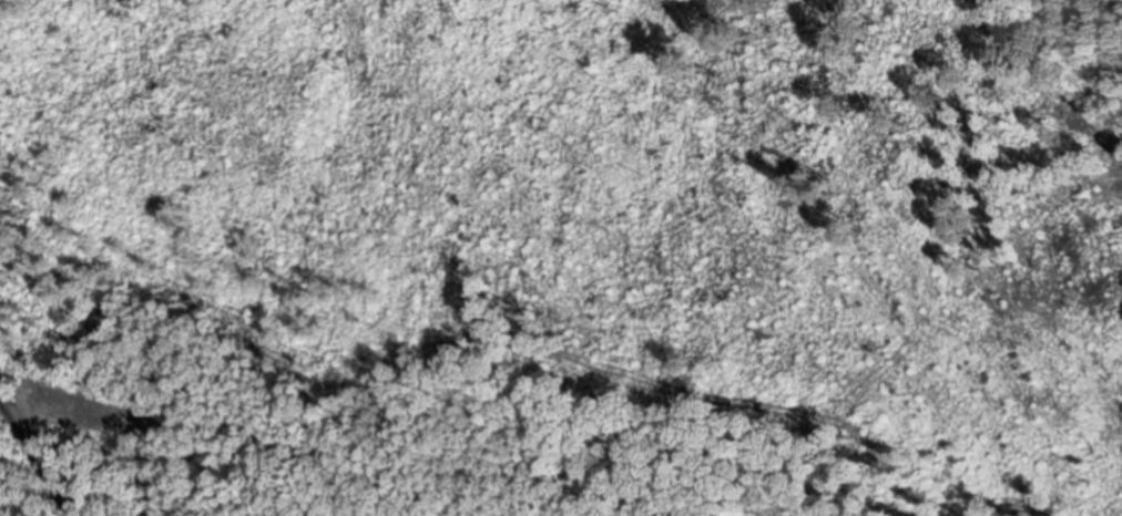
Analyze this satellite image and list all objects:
road: (40, 443)

